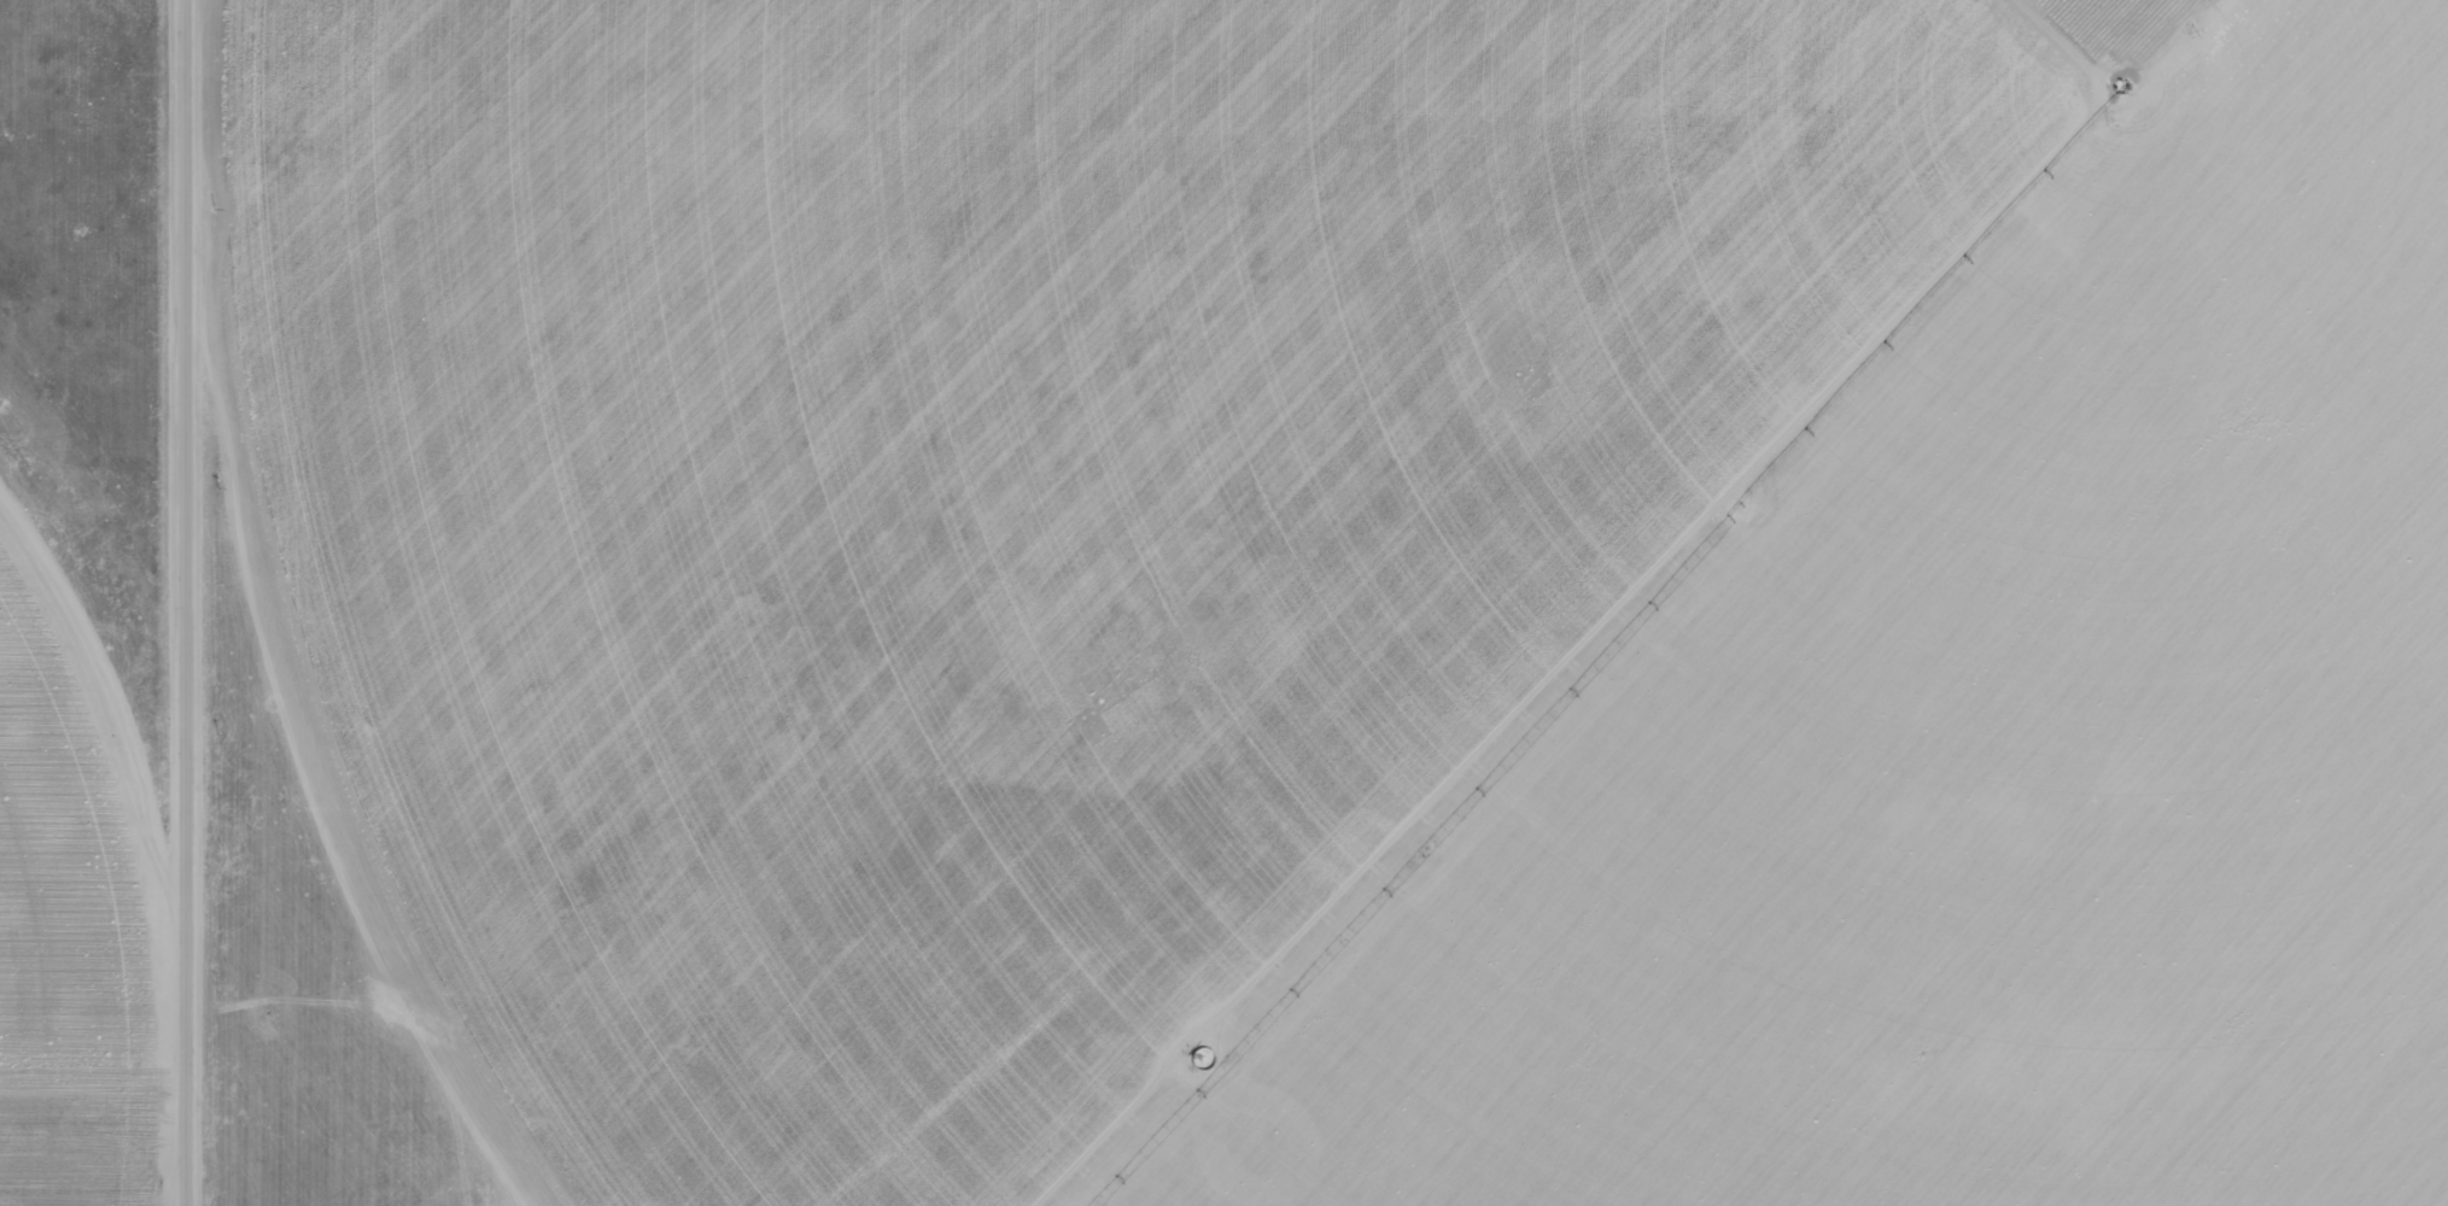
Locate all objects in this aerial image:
road: (179, 602)

